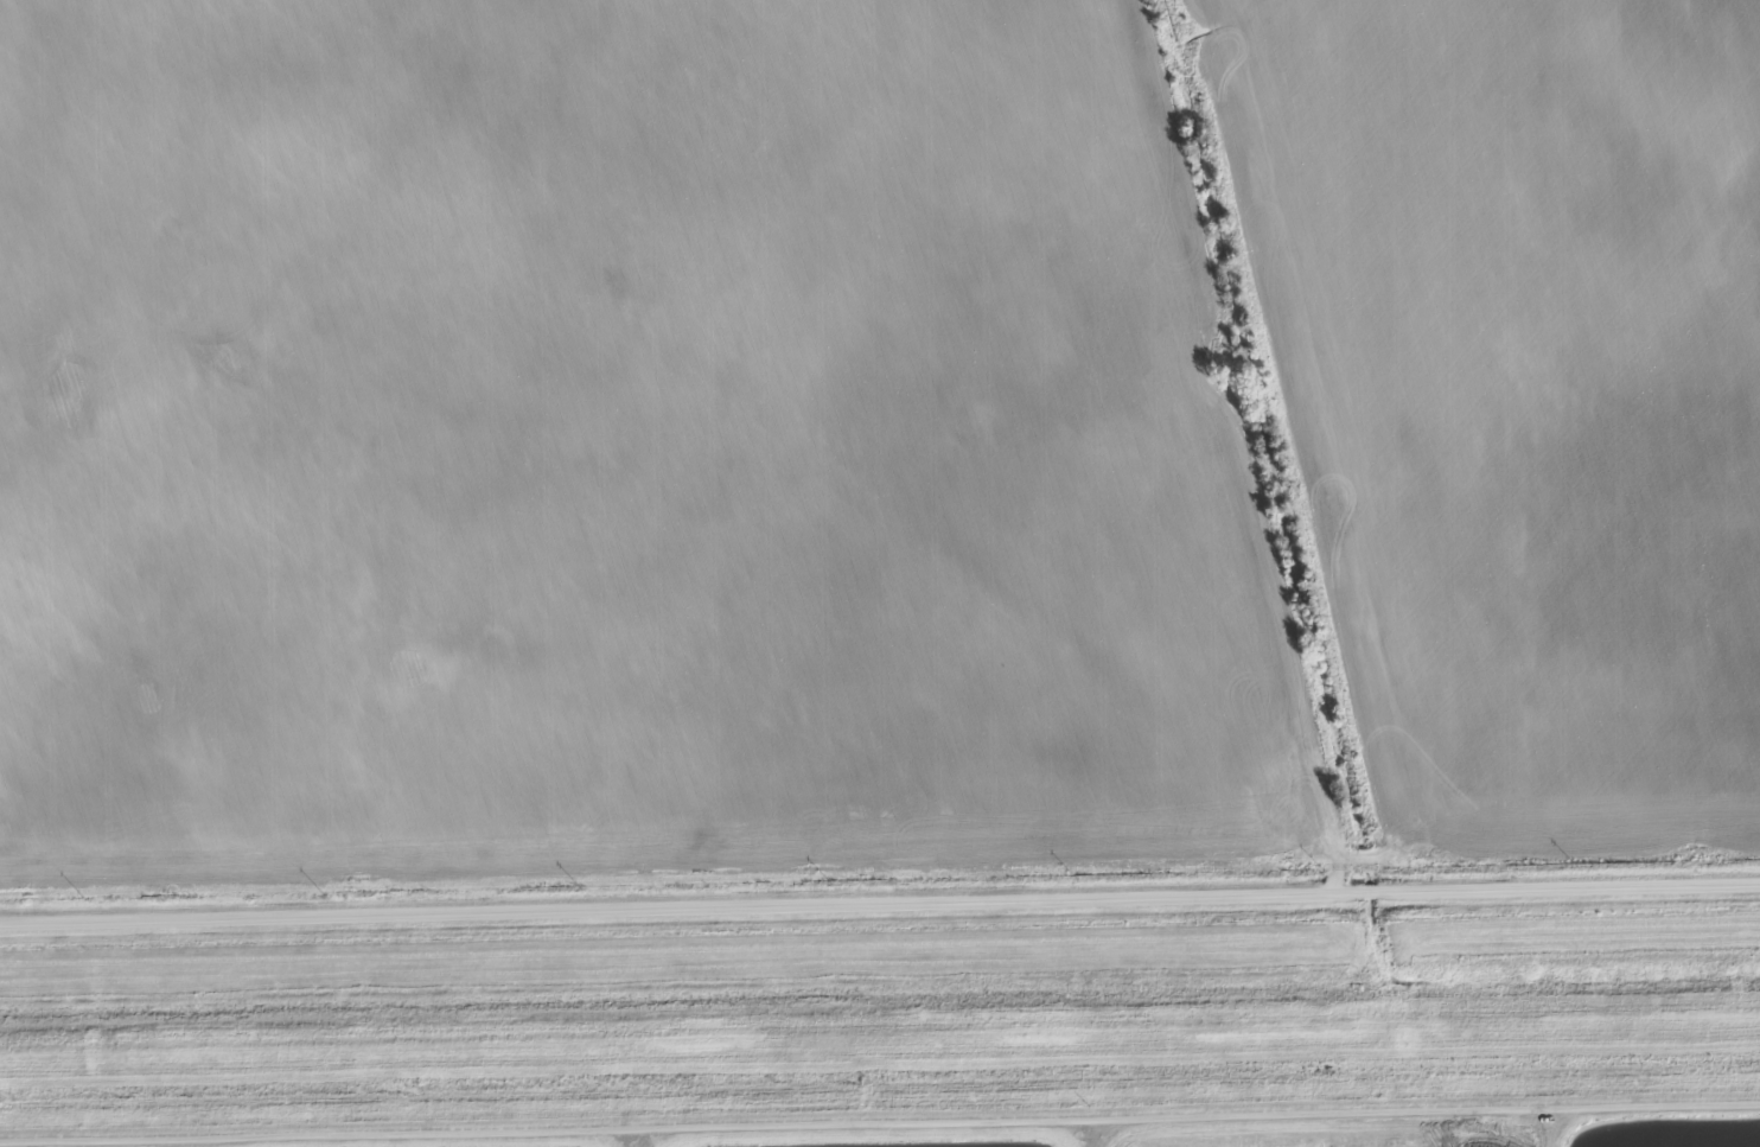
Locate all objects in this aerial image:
road: (880, 898)
road: (1352, 937)

